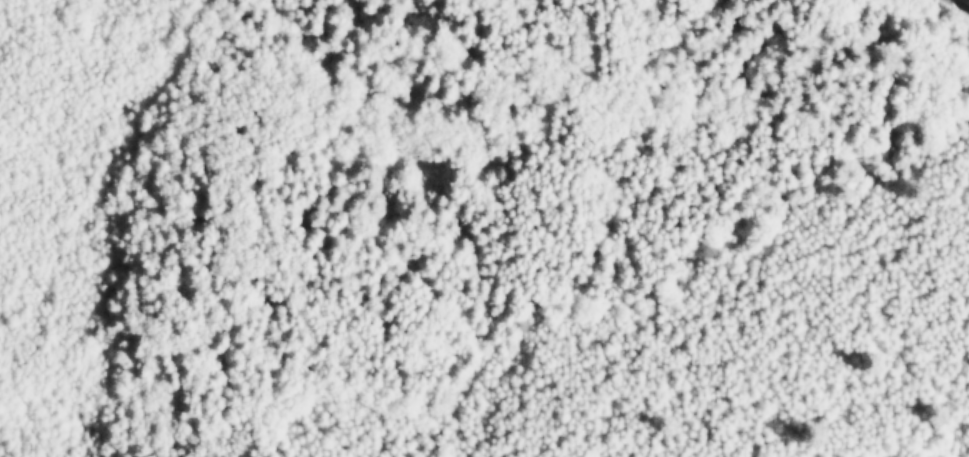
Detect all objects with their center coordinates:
road: (958, 5)

